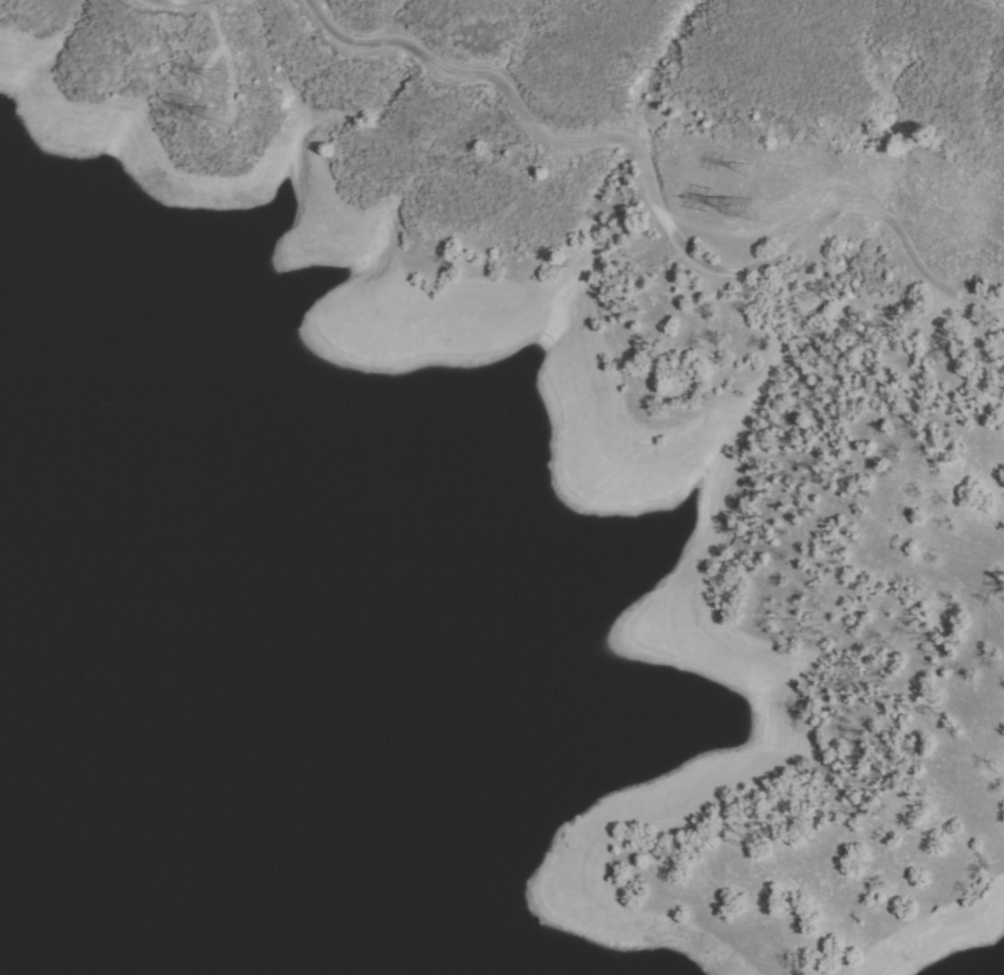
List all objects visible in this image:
power tower: (224, 80)
power tower: (218, 116)
power tower: (748, 172)
road: (666, 198)
power tower: (744, 209)

